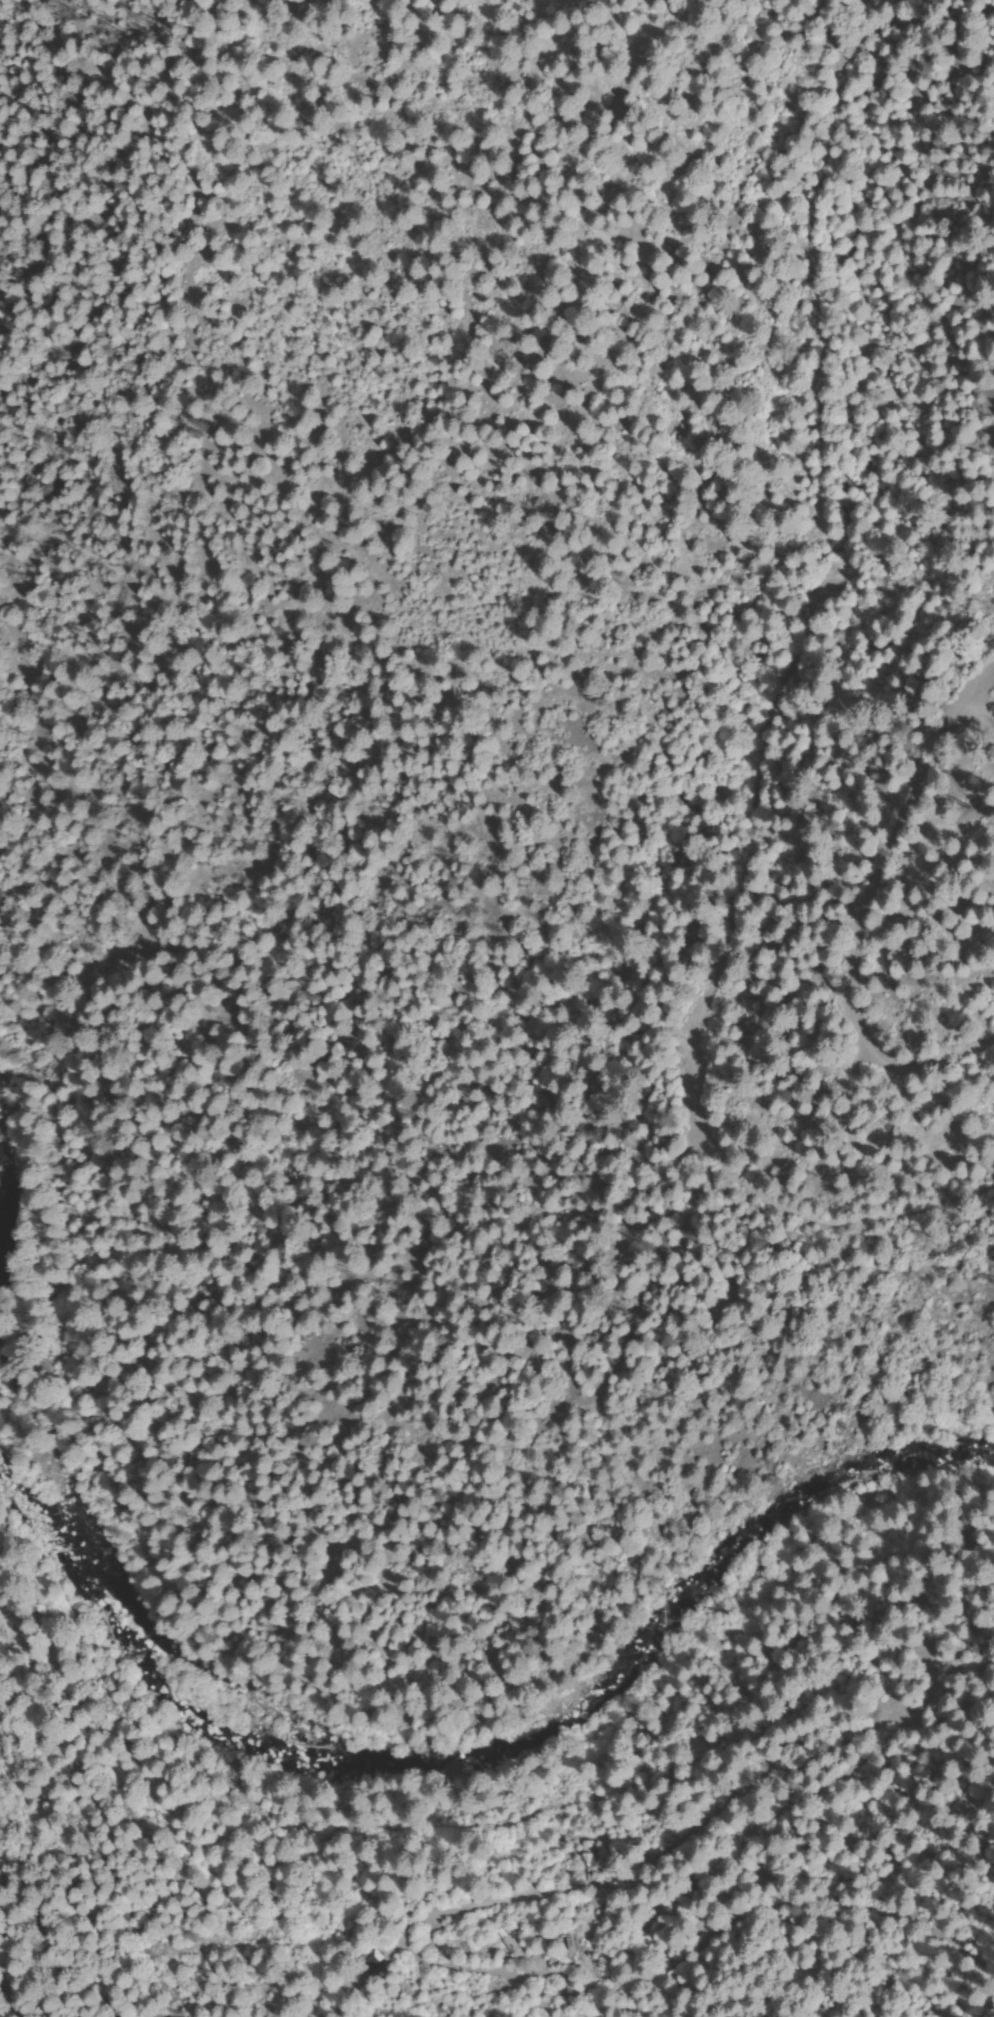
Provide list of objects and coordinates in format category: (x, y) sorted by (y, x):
road: (879, 873)
river: (479, 1745)

